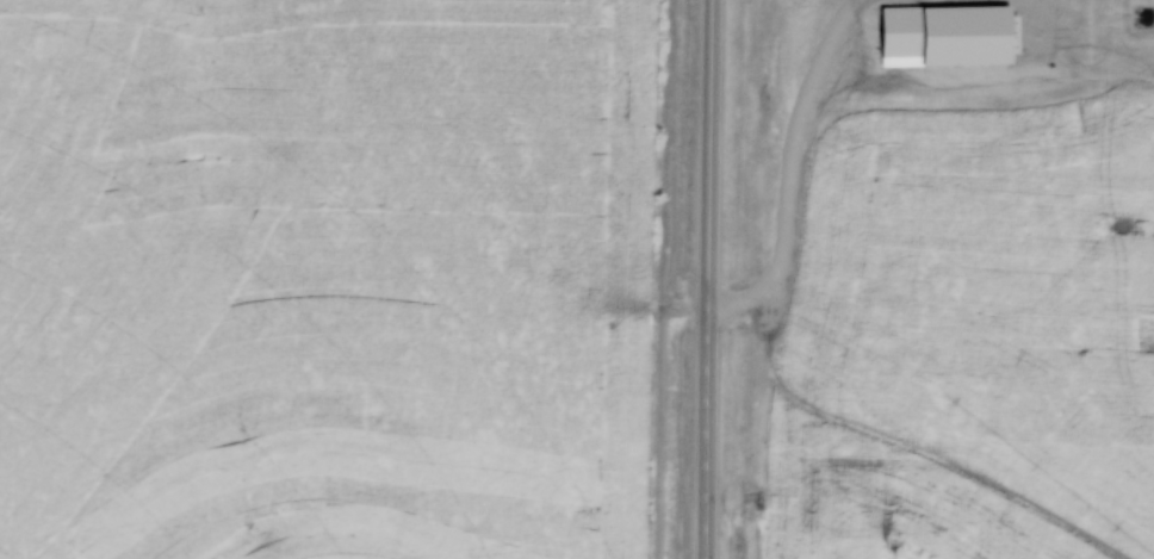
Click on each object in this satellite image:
road: (707, 279)

